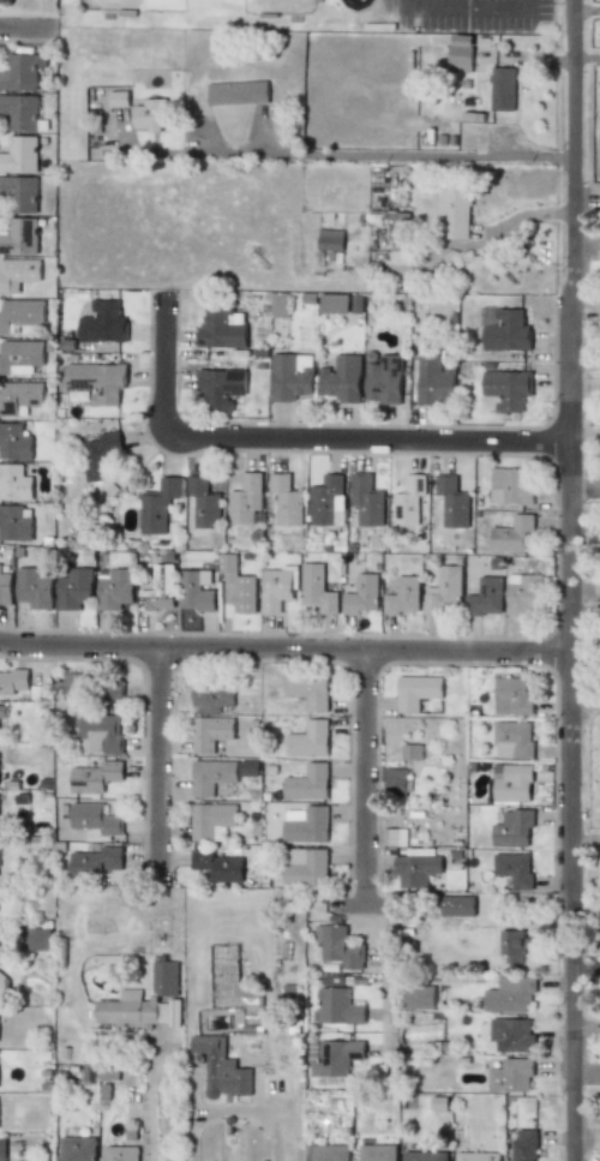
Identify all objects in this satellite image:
road: (469, 6)
road: (584, 11)
road: (28, 31)
building: (460, 54)
building: (20, 72)
building: (502, 89)
building: (236, 92)
building: (118, 98)
building: (19, 112)
building: (150, 115)
road: (383, 154)
building: (19, 155)
building: (18, 193)
building: (452, 213)
building: (19, 237)
building: (330, 240)
building: (17, 274)
building: (332, 303)
building: (278, 305)
building: (20, 315)
building: (103, 323)
building: (222, 328)
building: (504, 329)
building: (20, 357)
building: (290, 376)
building: (341, 378)
building: (383, 379)
building: (97, 381)
building: (434, 381)
building: (221, 388)
building: (504, 390)
building: (20, 397)
road: (302, 437)
building: (14, 442)
building: (100, 455)
building: (14, 483)
building: (510, 486)
road: (584, 497)
building: (245, 498)
building: (286, 499)
building: (366, 499)
building: (326, 501)
building: (408, 501)
building: (452, 502)
building: (204, 503)
building: (157, 505)
building: (16, 522)
building: (511, 533)
building: (227, 564)
road: (569, 580)
building: (35, 587)
building: (277, 587)
building: (5, 588)
building: (73, 588)
building: (115, 588)
building: (158, 588)
building: (317, 588)
building: (196, 591)
building: (445, 592)
building: (245, 594)
building: (523, 594)
building: (361, 596)
building: (403, 596)
building: (485, 596)
road: (283, 651)
building: (13, 681)
building: (91, 686)
building: (307, 690)
building: (416, 692)
building: (212, 694)
building: (512, 695)
road: (584, 705)
building: (2, 712)
building: (209, 732)
building: (100, 734)
building: (308, 740)
building: (512, 740)
building: (410, 752)
road: (158, 768)
building: (95, 776)
building: (211, 776)
road: (364, 778)
building: (394, 782)
building: (306, 783)
building: (511, 784)
building: (94, 818)
building: (211, 820)
building: (306, 824)
building: (512, 828)
building: (95, 861)
building: (217, 866)
building: (305, 867)
building: (415, 869)
building: (514, 869)
building: (457, 906)
building: (511, 946)
road: (586, 966)
building: (164, 979)
road: (388, 982)
building: (4, 985)
building: (509, 994)
building: (418, 997)
building: (336, 1007)
building: (137, 1009)
road: (586, 1027)
building: (511, 1035)
building: (336, 1057)
building: (220, 1069)
road: (151, 1070)
building: (511, 1075)
building: (439, 1103)
building: (523, 1145)
building: (76, 1149)
building: (2, 1150)
building: (326, 1153)
building: (376, 1153)
building: (118, 1154)
building: (424, 1156)
building: (476, 1156)

